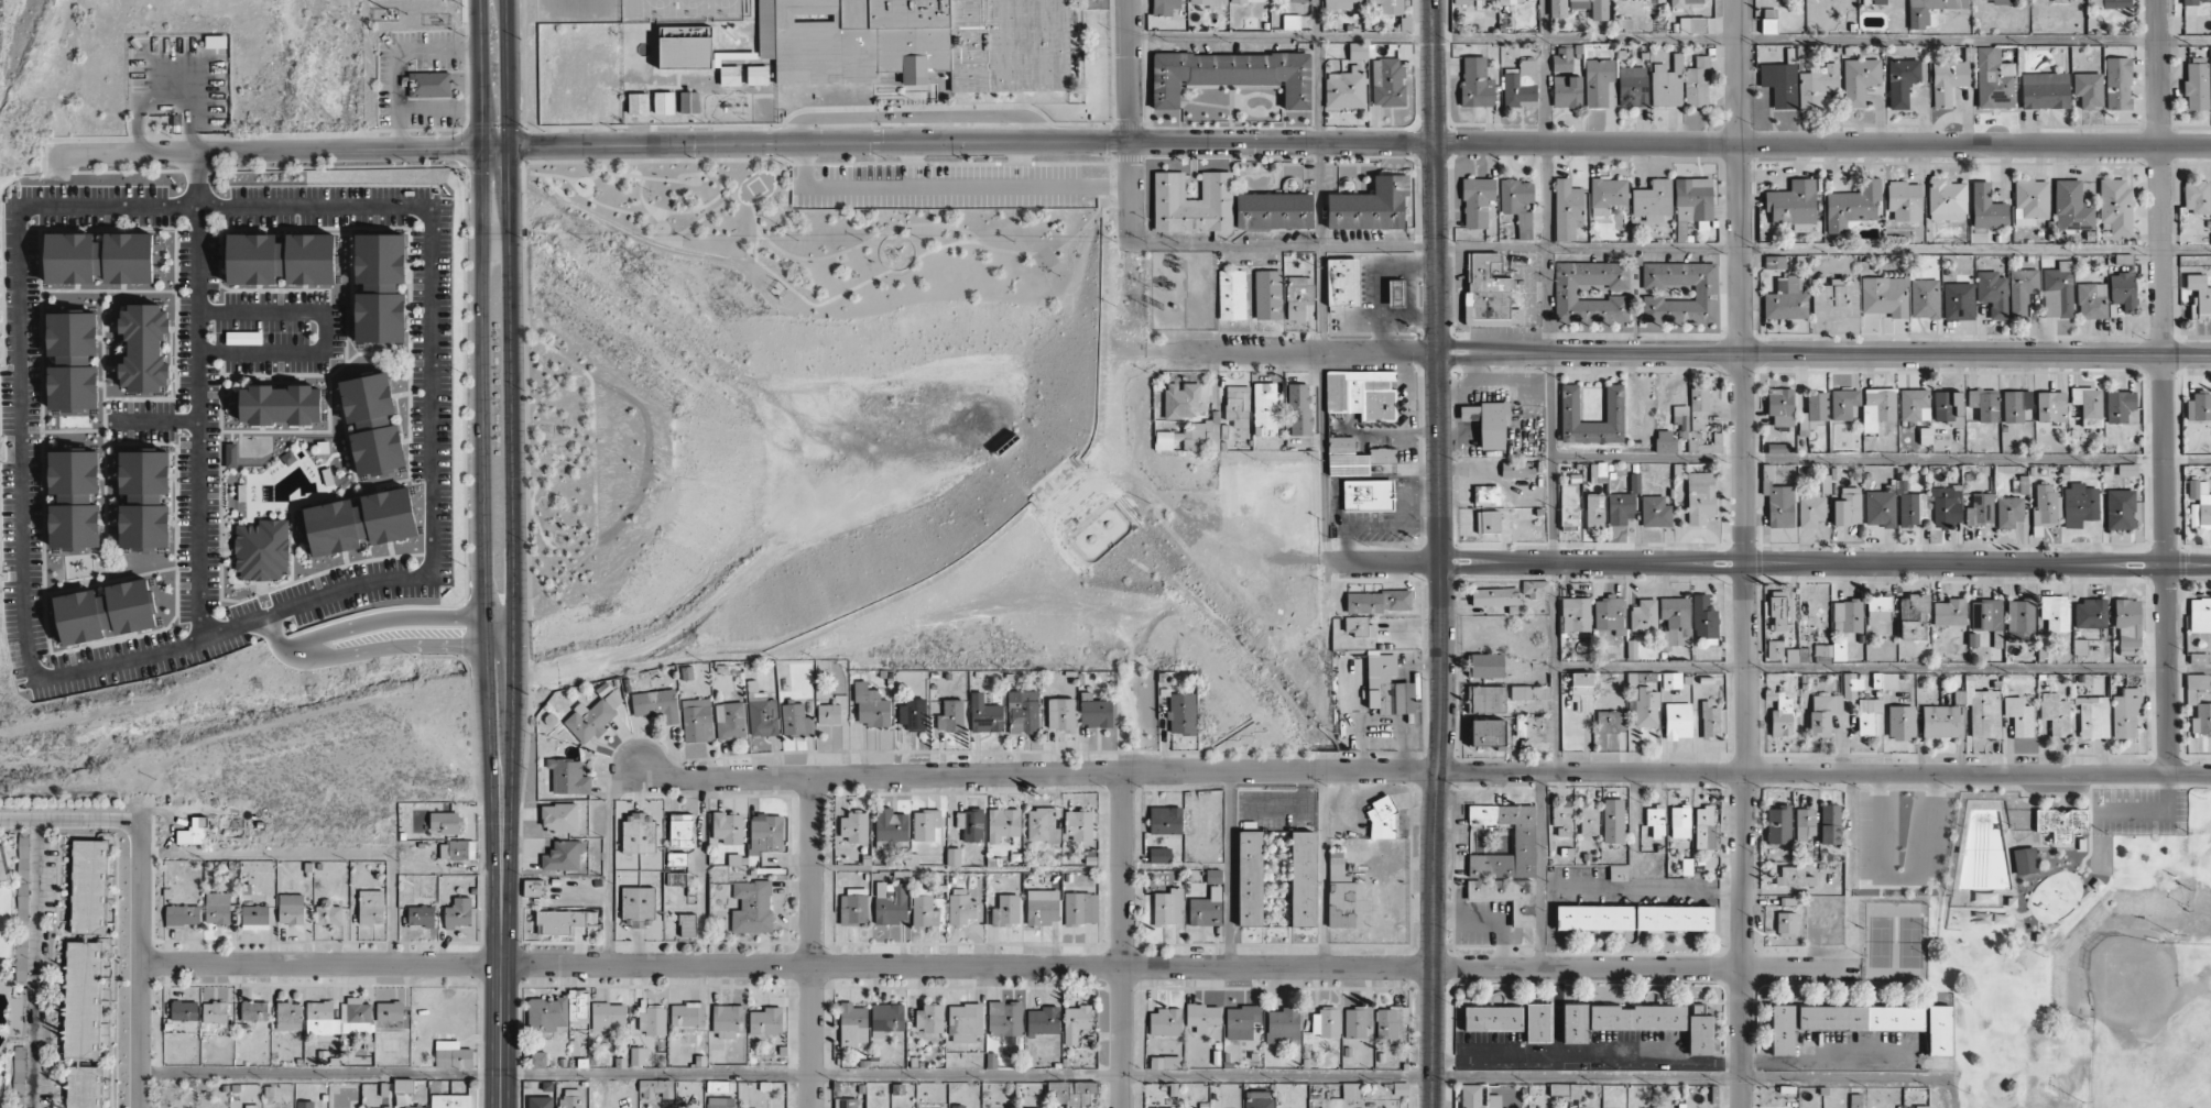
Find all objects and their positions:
building: (1297, 0)
building: (2067, 0)
building: (1207, 1)
building: (1238, 1)
building: (1874, 1)
building: (2007, 1)
building: (1463, 2)
building: (1506, 2)
building: (2189, 2)
building: (1338, 3)
building: (1682, 3)
building: (2115, 3)
building: (1387, 6)
building: (1164, 7)
building: (1557, 8)
building: (1591, 8)
building: (1918, 18)
building: (1290, 21)
building: (1768, 21)
building: (1691, 24)
road: (1669, 40)
building: (216, 41)
building: (918, 42)
building: (685, 46)
building: (1358, 51)
building: (1562, 58)
building: (640, 74)
building: (1231, 75)
building: (1946, 78)
building: (1859, 79)
building: (1994, 79)
building: (1598, 80)
building: (1902, 80)
building: (1387, 81)
building: (1475, 83)
building: (1697, 83)
building: (1779, 83)
building: (2117, 83)
building: (426, 84)
building: (1520, 85)
building: (1817, 85)
building: (1632, 86)
building: (1664, 86)
building: (2196, 86)
building: (1347, 87)
building: (2088, 89)
building: (2045, 90)
building: (1567, 91)
building: (638, 102)
building: (664, 102)
building: (689, 102)
road: (1130, 124)
road: (958, 144)
road: (1823, 147)
road: (264, 152)
road: (683, 178)
road: (638, 191)
building: (1608, 195)
building: (1695, 196)
building: (2196, 196)
building: (1947, 199)
road: (592, 200)
building: (1653, 200)
building: (1905, 200)
building: (2030, 200)
building: (1477, 201)
building: (1192, 202)
road: (747, 204)
building: (1517, 204)
road: (315, 205)
building: (1793, 205)
building: (1852, 205)
building: (2115, 205)
building: (1370, 206)
building: (2070, 206)
building: (1986, 207)
road: (653, 208)
building: (1567, 209)
building: (1273, 210)
road: (1089, 219)
building: (1681, 221)
road: (679, 232)
road: (889, 232)
road: (943, 245)
road: (1671, 251)
road: (717, 253)
building: (99, 257)
building: (281, 257)
building: (1774, 261)
road: (1320, 281)
building: (1342, 282)
building: (380, 287)
building: (2123, 289)
building: (1704, 290)
building: (2058, 290)
building: (1566, 292)
building: (2023, 292)
building: (1395, 293)
building: (1489, 293)
building: (1992, 293)
building: (1231, 294)
building: (1267, 294)
building: (1885, 295)
building: (2199, 295)
building: (1298, 296)
building: (1925, 298)
building: (1786, 299)
building: (1836, 299)
building: (1958, 300)
building: (2091, 300)
road: (324, 330)
building: (144, 348)
road: (545, 348)
road: (1221, 350)
road: (1380, 351)
road: (1823, 354)
road: (482, 361)
road: (514, 361)
building: (73, 362)
park: (567, 362)
road: (1549, 385)
road: (2164, 386)
road: (588, 387)
building: (1361, 394)
road: (428, 396)
road: (199, 397)
building: (1183, 399)
building: (1569, 403)
building: (1843, 403)
building: (281, 404)
building: (1914, 404)
building: (1984, 404)
building: (1237, 405)
building: (2015, 405)
building: (2088, 405)
building: (2119, 405)
building: (1780, 406)
building: (2050, 406)
building: (1877, 407)
building: (1948, 407)
building: (2199, 407)
building: (1298, 408)
building: (1264, 409)
building: (1812, 412)
building: (1469, 413)
road: (159, 420)
building: (1696, 421)
building: (372, 424)
building: (1493, 424)
road: (532, 426)
road: (531, 436)
building: (1191, 436)
building: (1664, 440)
building: (1776, 448)
building: (230, 454)
road: (559, 456)
building: (1354, 457)
road: (1881, 457)
road: (593, 463)
road: (552, 468)
building: (1517, 470)
building: (1598, 472)
building: (1485, 494)
building: (1368, 495)
building: (1700, 497)
building: (74, 498)
building: (144, 500)
building: (1777, 500)
road: (534, 503)
building: (1623, 503)
building: (2079, 504)
road: (531, 505)
building: (1569, 505)
building: (1946, 505)
building: (2199, 505)
building: (1848, 506)
building: (1894, 506)
building: (2045, 508)
building: (2120, 508)
building: (1594, 509)
building: (1811, 509)
building: (1980, 509)
building: (2008, 511)
building: (1655, 512)
building: (360, 522)
building: (1488, 522)
road: (546, 538)
building: (262, 549)
road: (1440, 553)
road: (1741, 553)
road: (23, 555)
road: (1383, 562)
road: (1804, 564)
road: (2189, 564)
building: (1535, 588)
building: (1494, 596)
building: (1376, 601)
building: (1914, 607)
building: (1777, 608)
building: (1878, 608)
building: (106, 611)
building: (1949, 612)
building: (2055, 612)
building: (1575, 614)
building: (1609, 614)
building: (1848, 614)
building: (2200, 614)
building: (1643, 616)
building: (2019, 616)
building: (2090, 616)
building: (1704, 618)
building: (1987, 618)
road: (404, 619)
building: (1674, 621)
building: (2127, 624)
building: (1358, 626)
building: (1912, 630)
road: (280, 637)
road: (405, 647)
building: (1631, 649)
building: (1774, 649)
building: (1839, 649)
building: (1822, 651)
building: (1486, 665)
road: (1861, 668)
road: (2190, 670)
building: (1671, 680)
building: (1375, 682)
building: (1851, 685)
building: (2194, 687)
building: (1529, 692)
building: (1485, 699)
building: (655, 704)
building: (871, 705)
building: (1646, 706)
building: (1980, 707)
building: (1576, 710)
building: (1023, 712)
building: (1096, 712)
building: (2125, 712)
building: (1181, 713)
building: (1822, 713)
building: (2055, 713)
building: (828, 714)
building: (913, 714)
building: (984, 714)
building: (1060, 714)
building: (1780, 714)
building: (1867, 714)
building: (950, 715)
building: (2019, 715)
building: (592, 716)
building: (762, 716)
building: (2093, 716)
building: (696, 720)
building: (729, 720)
building: (1677, 720)
building: (1710, 720)
building: (2201, 720)
building: (796, 721)
building: (1610, 721)
building: (1940, 721)
building: (1900, 722)
building: (1533, 728)
building: (1486, 733)
quarry: (0, 753)
road: (1426, 770)
building: (568, 776)
building: (559, 818)
building: (1381, 818)
building: (1165, 820)
building: (1561, 820)
building: (1613, 820)
building: (1655, 820)
building: (1588, 821)
road: (70, 822)
building: (445, 822)
building: (1680, 822)
building: (1805, 822)
building: (1003, 823)
building: (1778, 823)
building: (1830, 823)
building: (2060, 823)
building: (925, 824)
building: (970, 824)
building: (1078, 824)
building: (890, 825)
building: (1042, 825)
building: (853, 826)
building: (728, 827)
building: (1703, 827)
building: (198, 830)
building: (682, 830)
building: (639, 832)
building: (765, 833)
building: (1523, 838)
road: (501, 843)
building: (457, 849)
building: (1159, 855)
building: (565, 856)
building: (952, 856)
building: (676, 858)
building: (2025, 860)
building: (2, 865)
building: (1618, 871)
building: (1213, 876)
building: (1795, 877)
building: (676, 878)
building: (1250, 878)
building: (1303, 878)
road: (1898, 878)
building: (22, 884)
building: (89, 886)
building: (533, 887)
building: (1343, 896)
building: (1507, 896)
building: (891, 902)
building: (639, 906)
building: (370, 907)
building: (751, 907)
building: (853, 907)
building: (1042, 907)
building: (1167, 907)
building: (217, 908)
building: (961, 908)
building: (1080, 908)
building: (1207, 908)
building: (291, 909)
building: (1006, 910)
building: (924, 911)
building: (458, 912)
building: (183, 914)
building: (328, 914)
building: (421, 915)
building: (254, 917)
building: (1594, 918)
building: (1674, 918)
building: (563, 920)
building: (1786, 923)
building: (687, 924)
park: (2044, 932)
road: (1123, 940)
park: (1894, 942)
road: (813, 943)
road: (322, 963)
road: (142, 964)
road: (36, 965)
road: (1179, 966)
building: (83, 999)
building: (578, 1006)
building: (184, 1010)
building: (254, 1010)
building: (389, 1011)
building: (215, 1012)
building: (546, 1013)
building: (607, 1014)
building: (687, 1014)
building: (288, 1016)
building: (356, 1016)
building: (1202, 1016)
building: (322, 1018)
building: (886, 1018)
building: (928, 1018)
building: (1004, 1018)
building: (1493, 1018)
building: (1637, 1018)
building: (1860, 1018)
building: (653, 1019)
building: (728, 1020)
building: (1043, 1020)
building: (765, 1021)
building: (1165, 1021)
building: (1241, 1021)
building: (1357, 1021)
building: (965, 1022)
building: (1075, 1022)
building: (1325, 1022)
building: (1391, 1022)
building: (1538, 1022)
building: (1575, 1023)
park: (2148, 1023)
building: (852, 1024)
building: (1283, 1025)
building: (1700, 1029)
building: (1782, 1030)
building: (1938, 1030)
road: (502, 1036)
building: (453, 1054)
building: (639, 1055)
building: (19, 1060)
building: (537, 1060)
building: (1165, 1062)
road: (1044, 1075)
building: (403, 1085)
building: (84, 1086)
building: (718, 1086)
building: (656, 1087)
building: (1350, 1090)
building: (1565, 1090)
building: (1075, 1093)
building: (1471, 1096)
building: (571, 1098)
building: (1257, 1099)
building: (450, 1100)
building: (1493, 1100)
building: (1855, 1100)
building: (540, 1101)
building: (720, 1101)
building: (846, 1102)
building: (304, 1104)
building: (1680, 1105)
building: (251, 1106)
building: (415, 1106)
building: (957, 1106)
building: (1168, 1107)
building: (1921, 1107)

